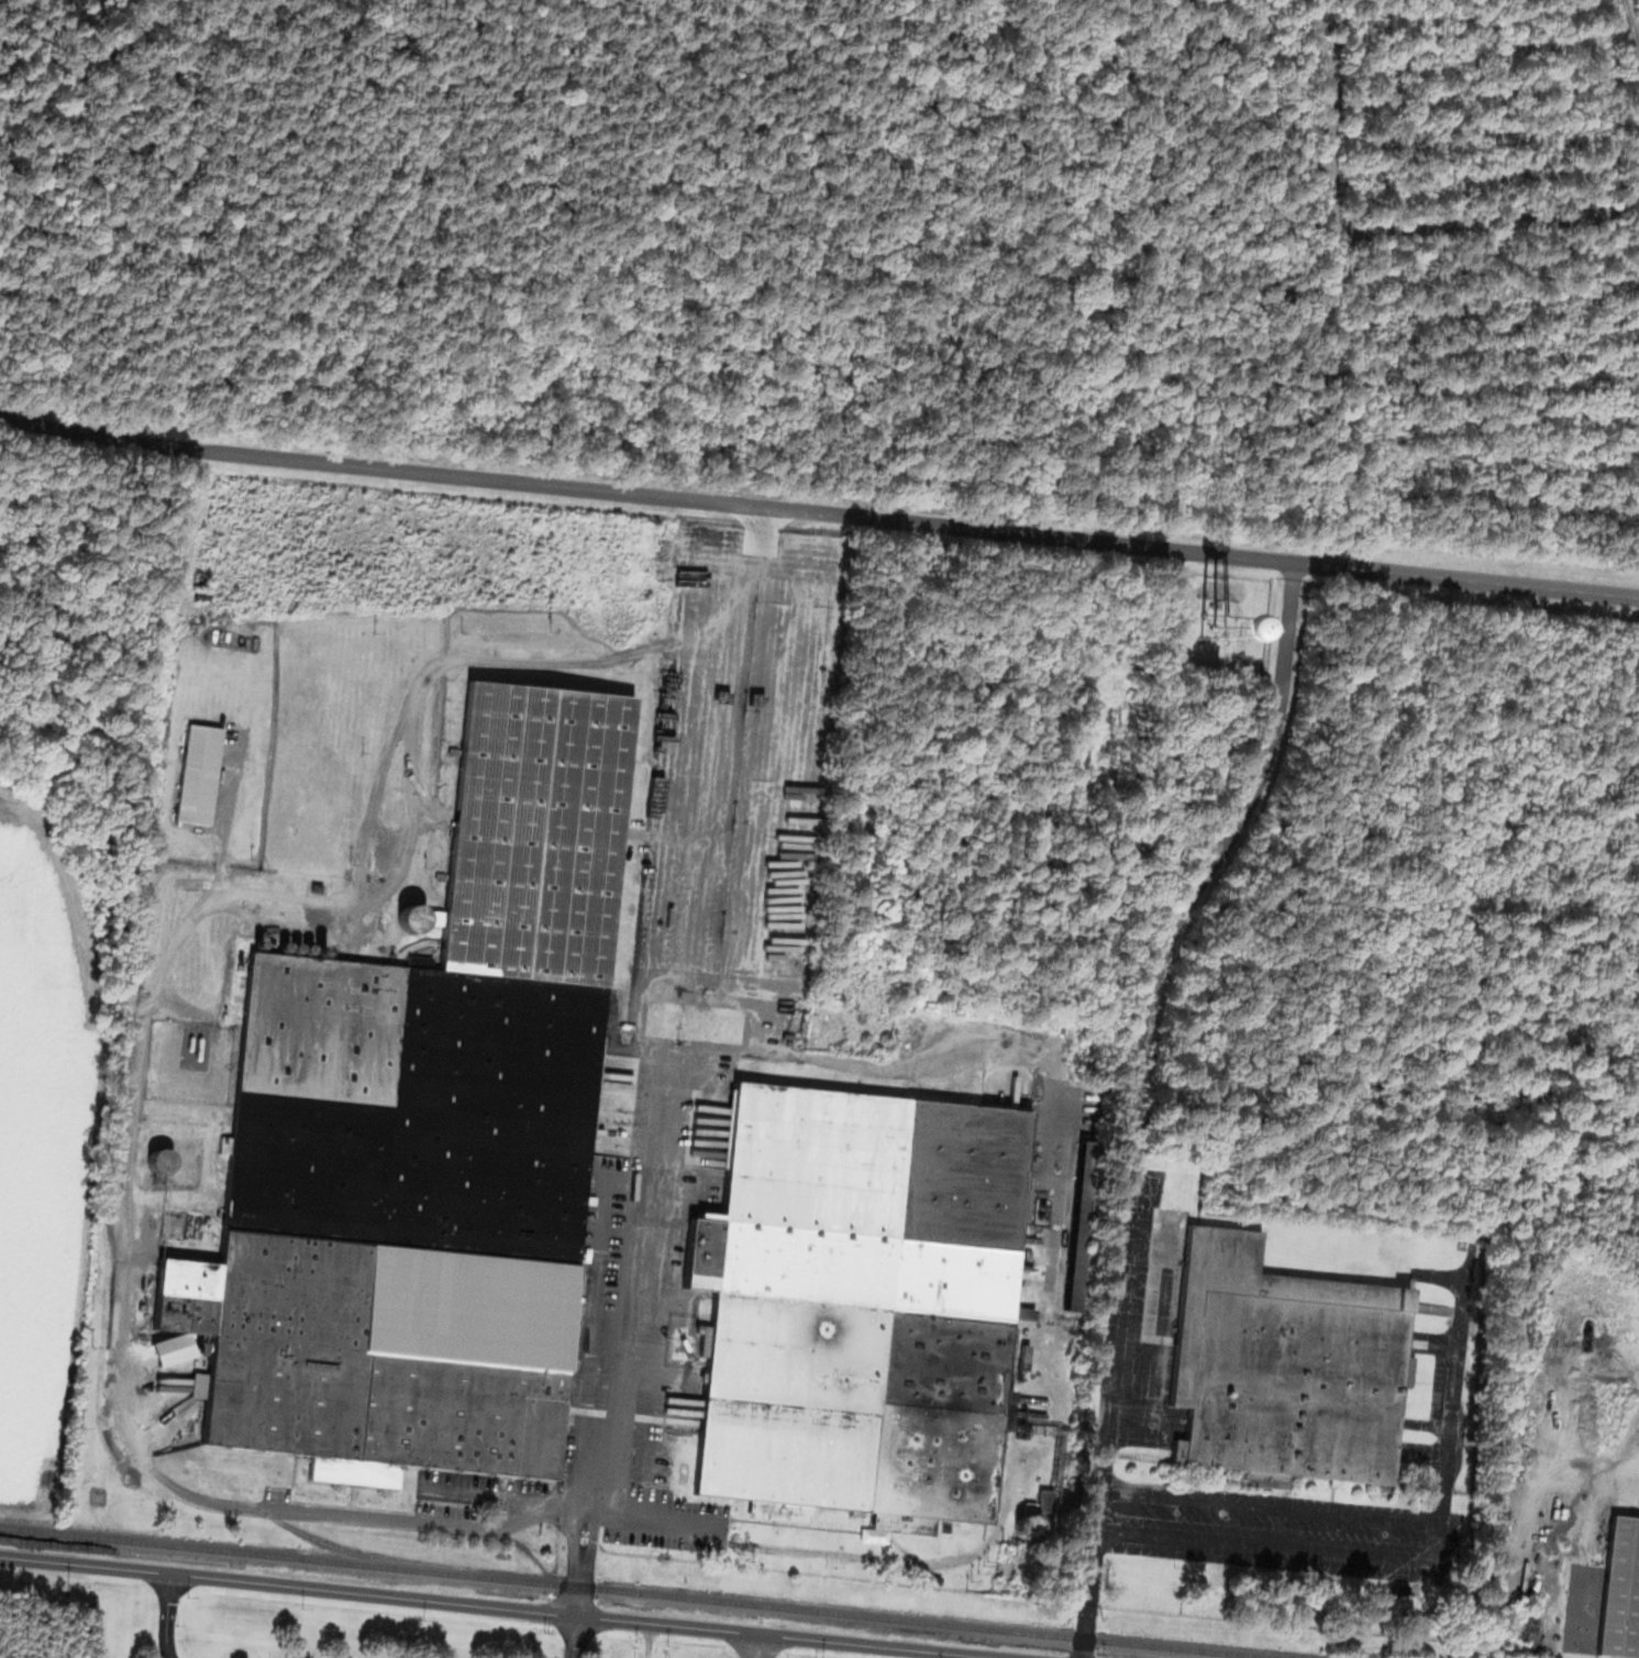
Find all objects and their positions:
road: (818, 511)
building: (1182, 619)
building: (199, 776)
building: (539, 832)
road: (1211, 853)
road: (154, 990)
road: (951, 1052)
road: (654, 1069)
building: (853, 1304)
building: (1278, 1366)
road: (1104, 1437)
road: (1263, 1507)
railway: (301, 1530)
road: (573, 1537)
road: (591, 1539)
road: (1439, 1544)
road: (1259, 1546)
road: (574, 1587)
building: (1618, 1589)
railway: (642, 1592)
road: (497, 1606)
road: (160, 1615)
railway: (853, 1622)
road: (571, 1636)
road: (747, 1645)

